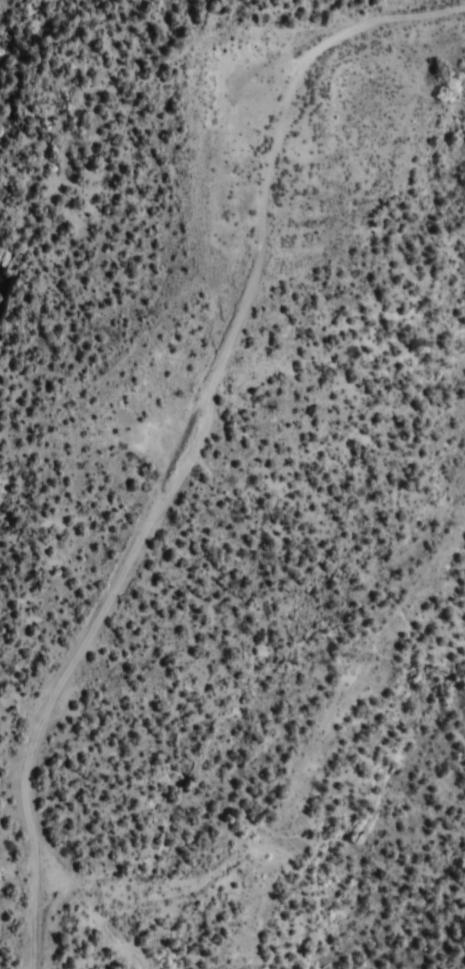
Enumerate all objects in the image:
road: (182, 467)

